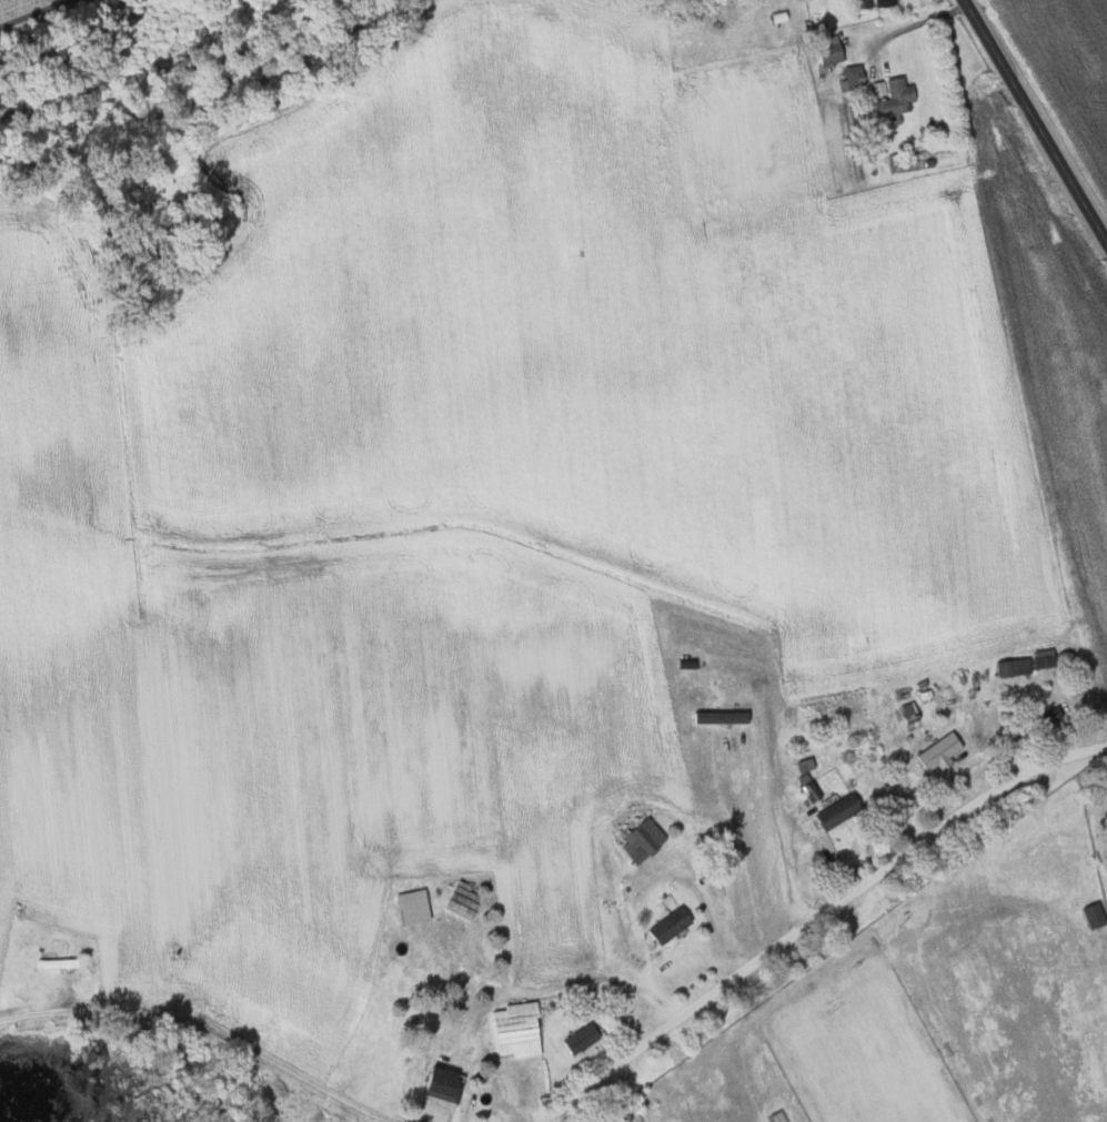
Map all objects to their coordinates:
building: (887, 2)
building: (869, 3)
road: (43, 13)
building: (834, 51)
building: (855, 77)
building: (896, 94)
road: (1033, 122)
building: (1017, 666)
building: (944, 751)
building: (843, 810)
building: (645, 839)
building: (416, 906)
building: (1098, 913)
road: (818, 920)
building: (675, 924)
road: (522, 992)
building: (521, 1029)
road: (212, 1032)
building: (586, 1037)
stadium: (869, 1047)
park: (867, 1061)
building: (447, 1084)
building: (782, 1115)

